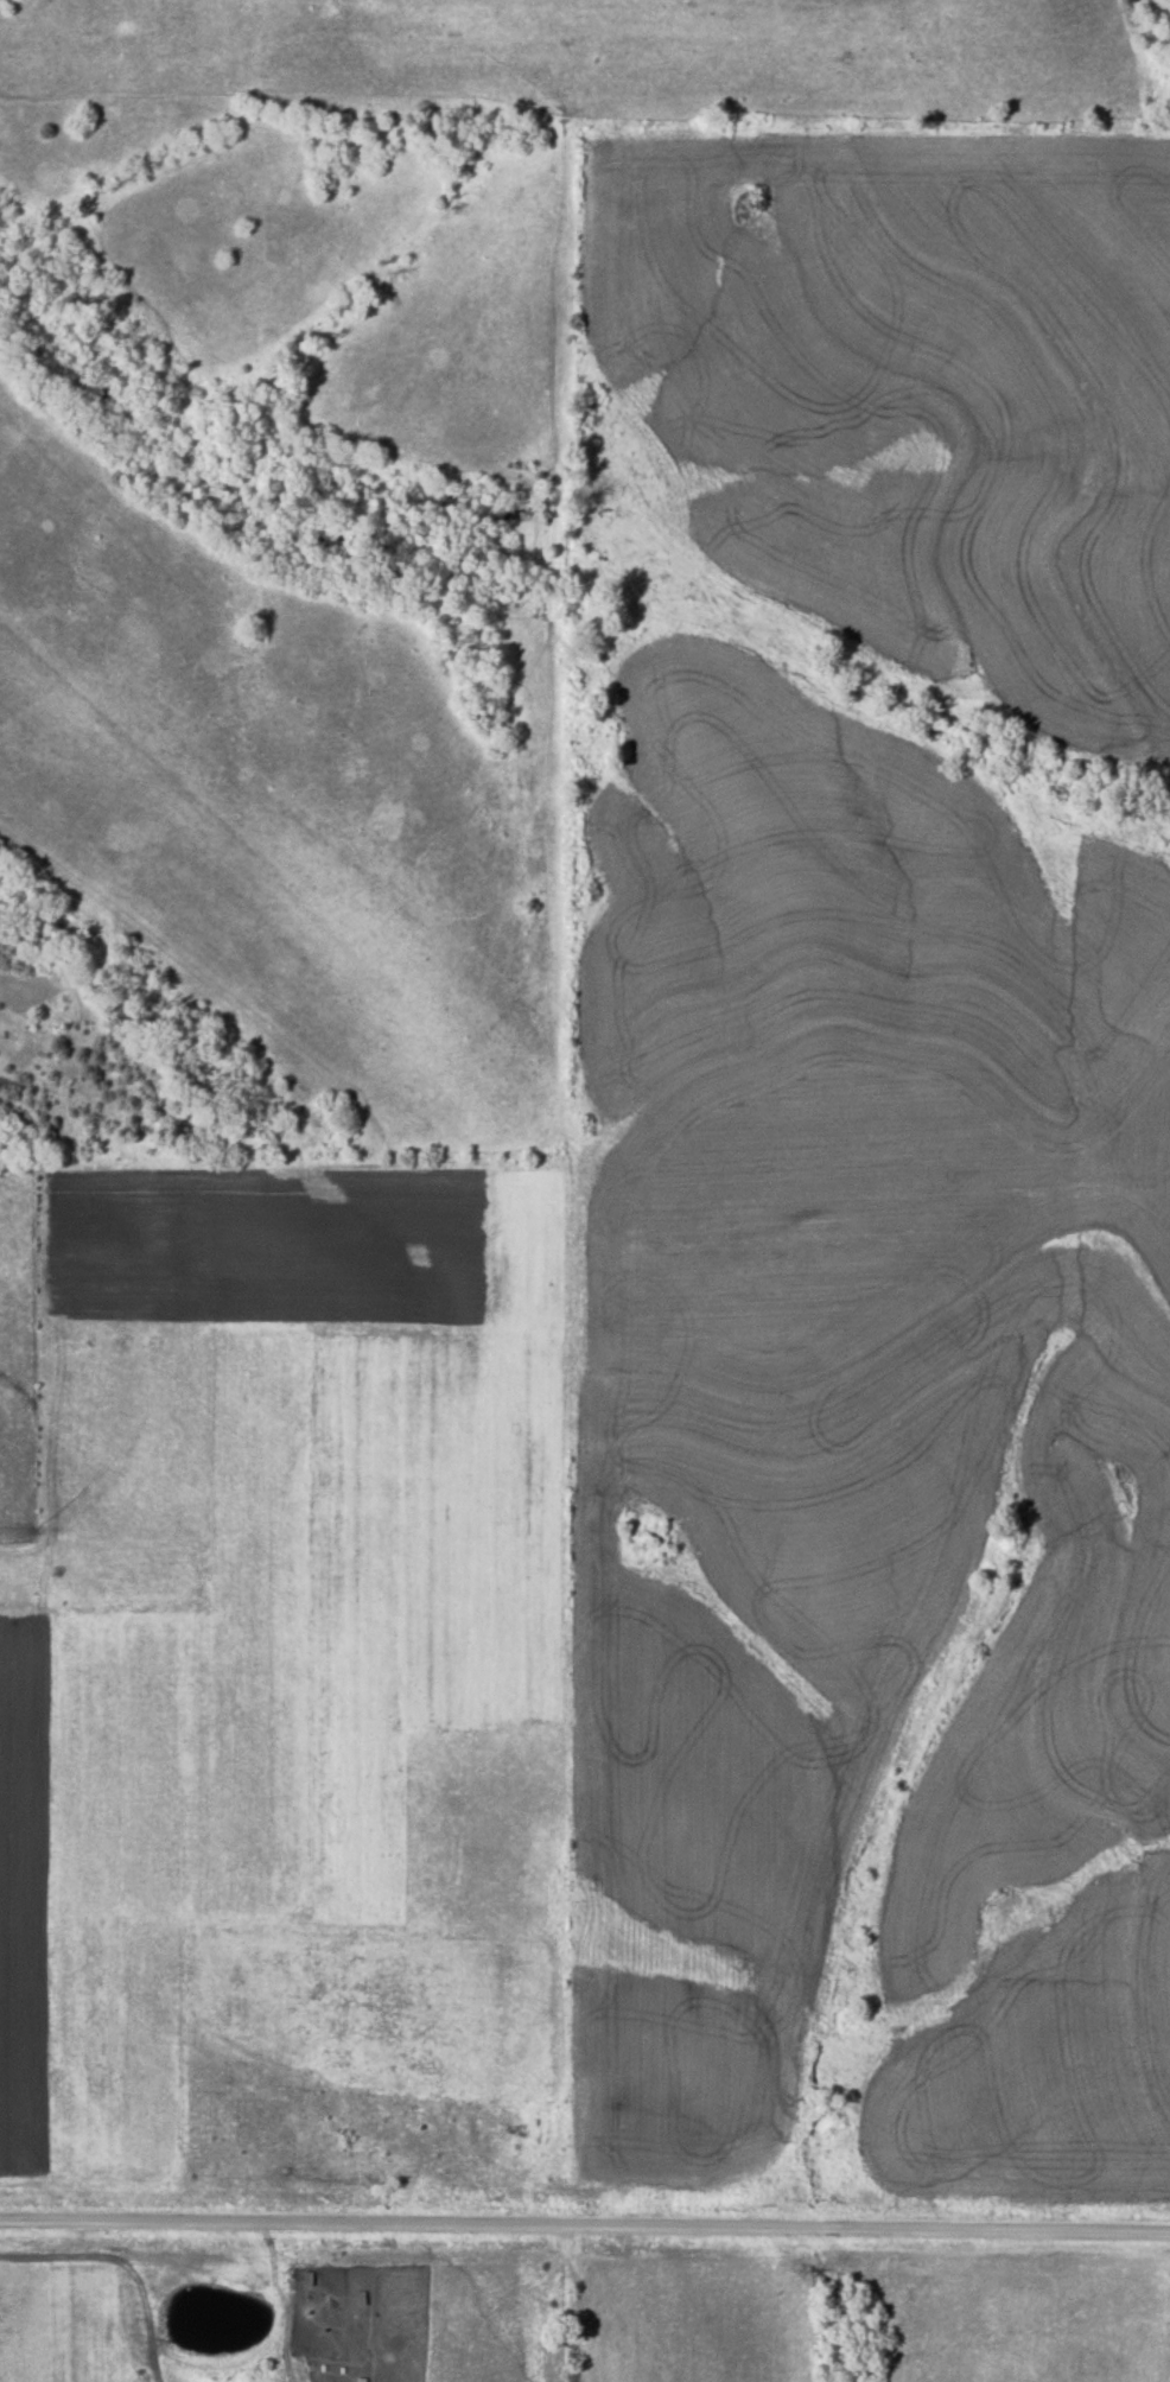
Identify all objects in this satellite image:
road: (585, 2225)

